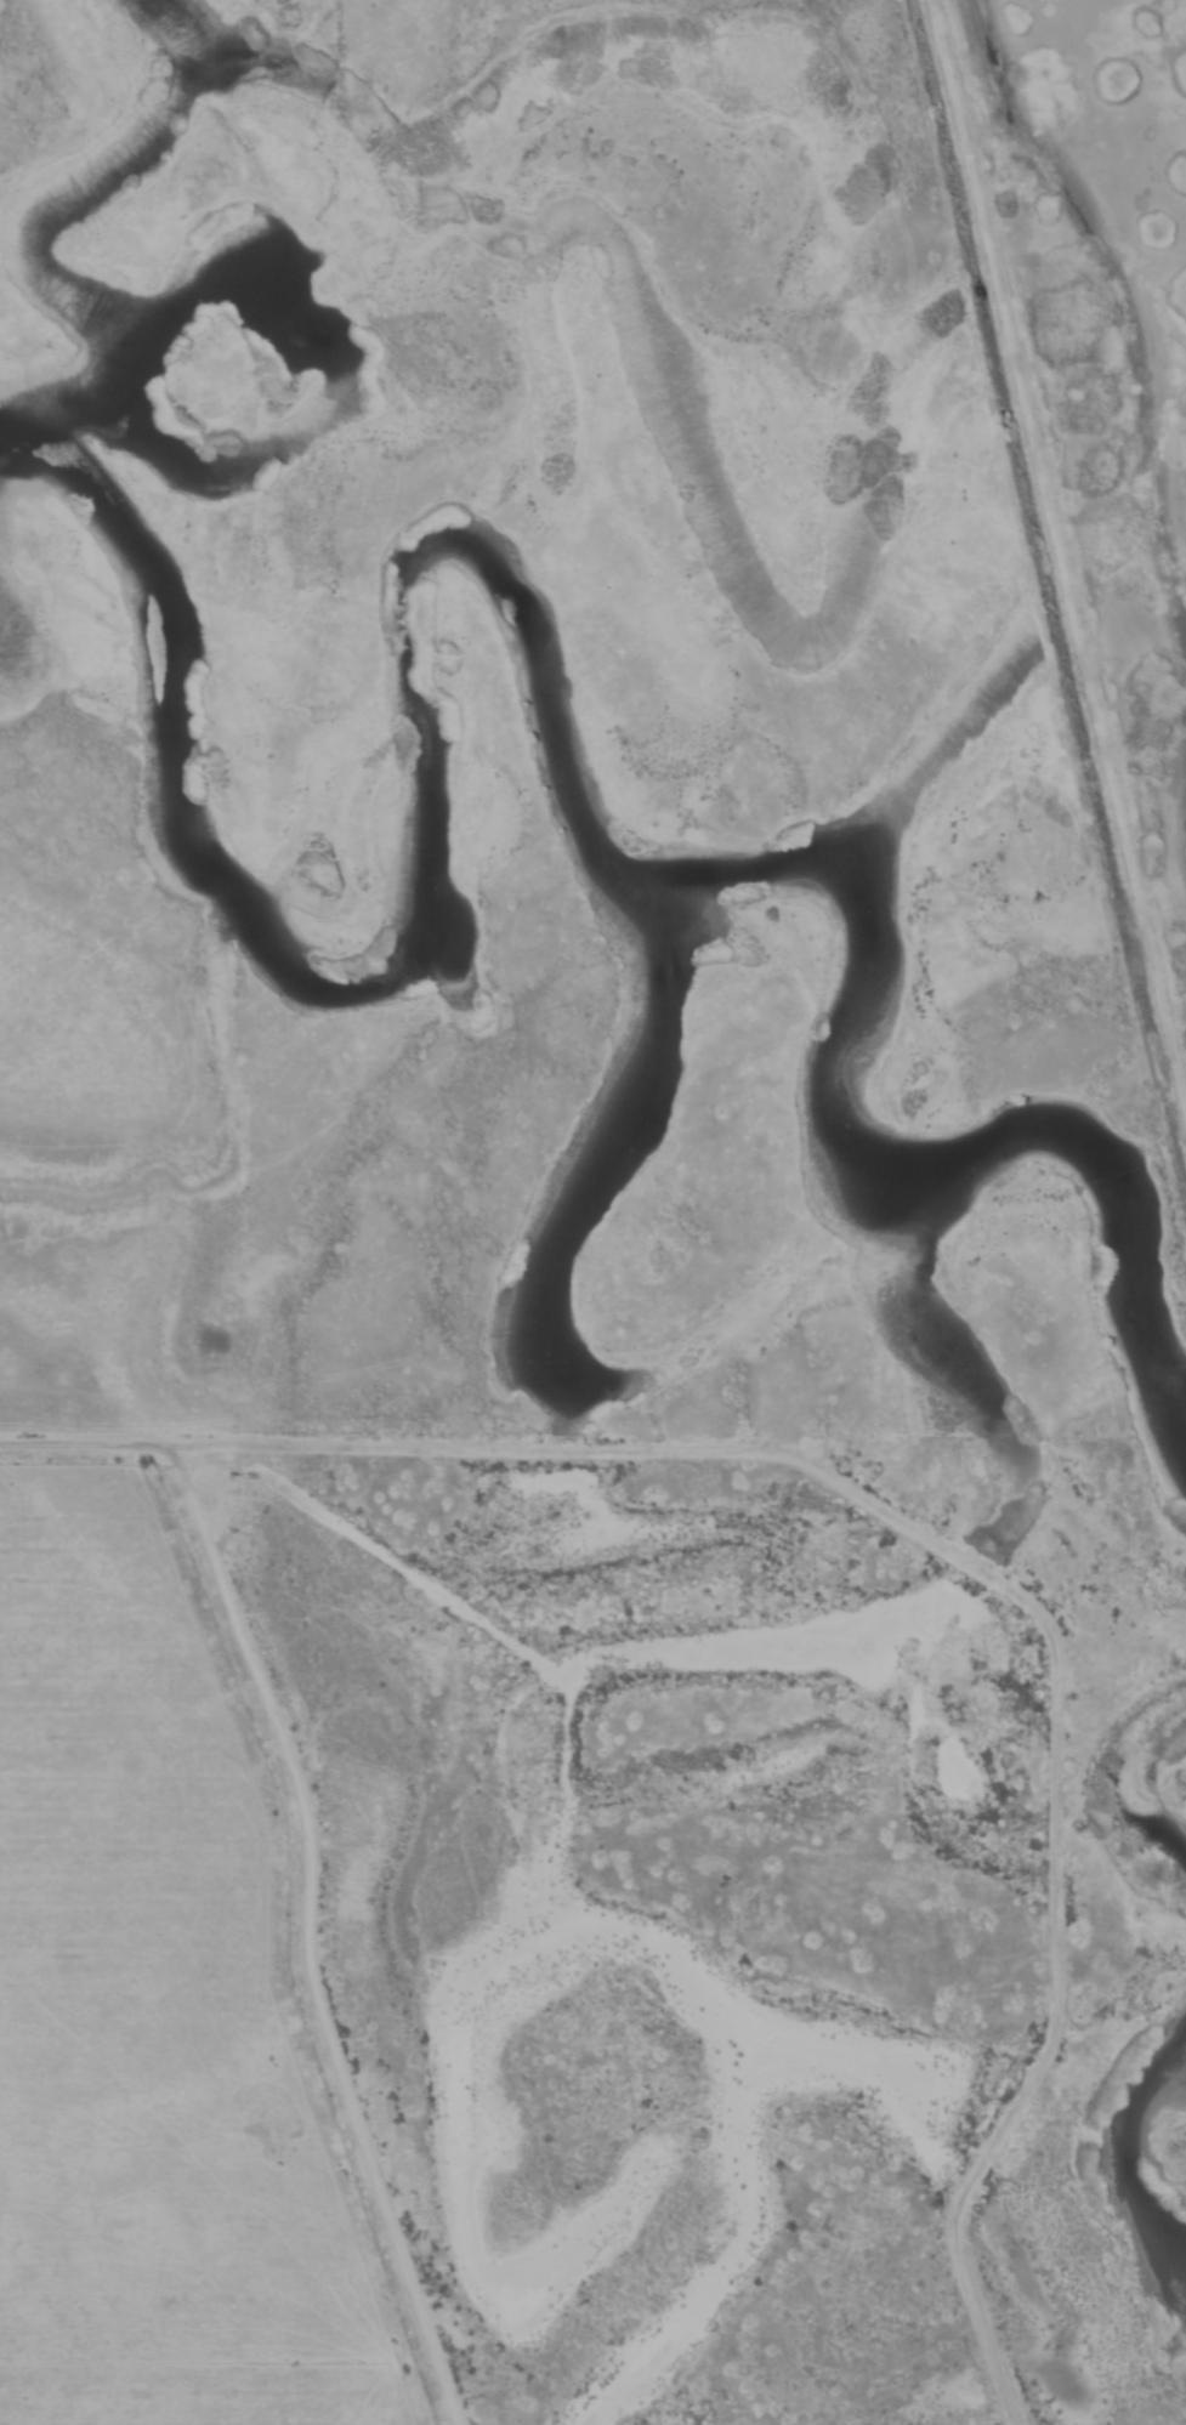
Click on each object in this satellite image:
crop: (172, 1999)

